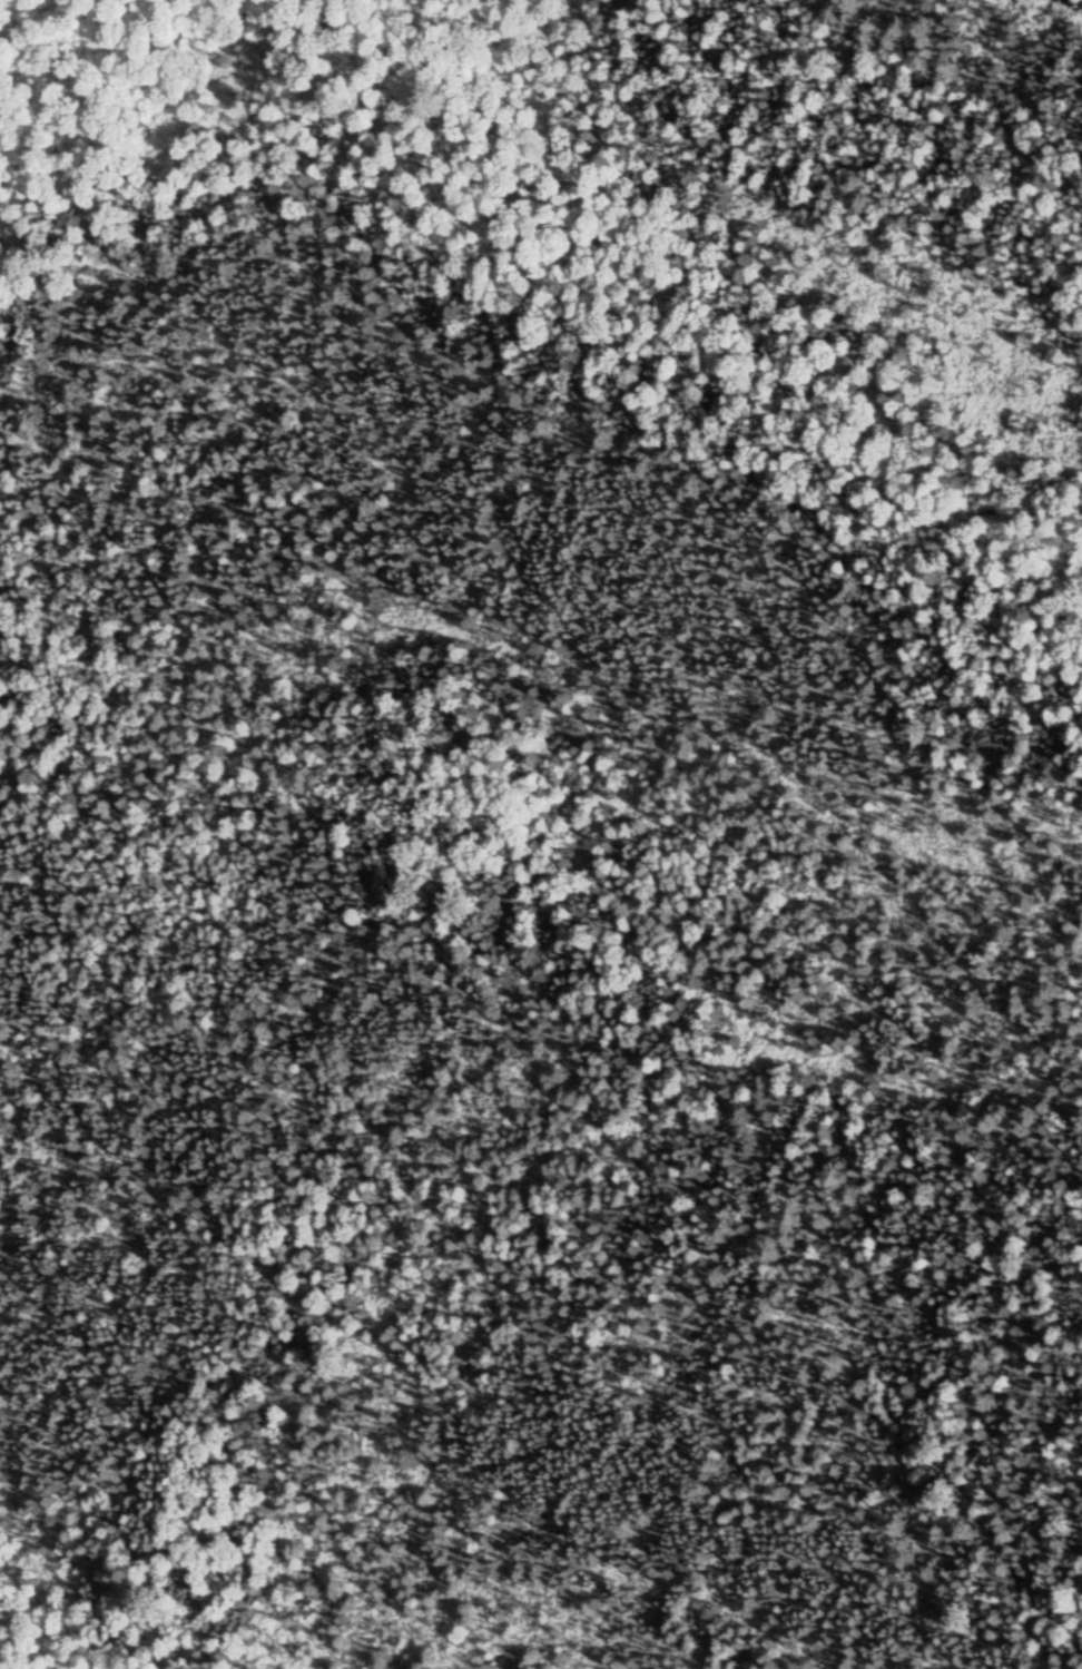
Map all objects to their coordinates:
river: (1066, 6)

